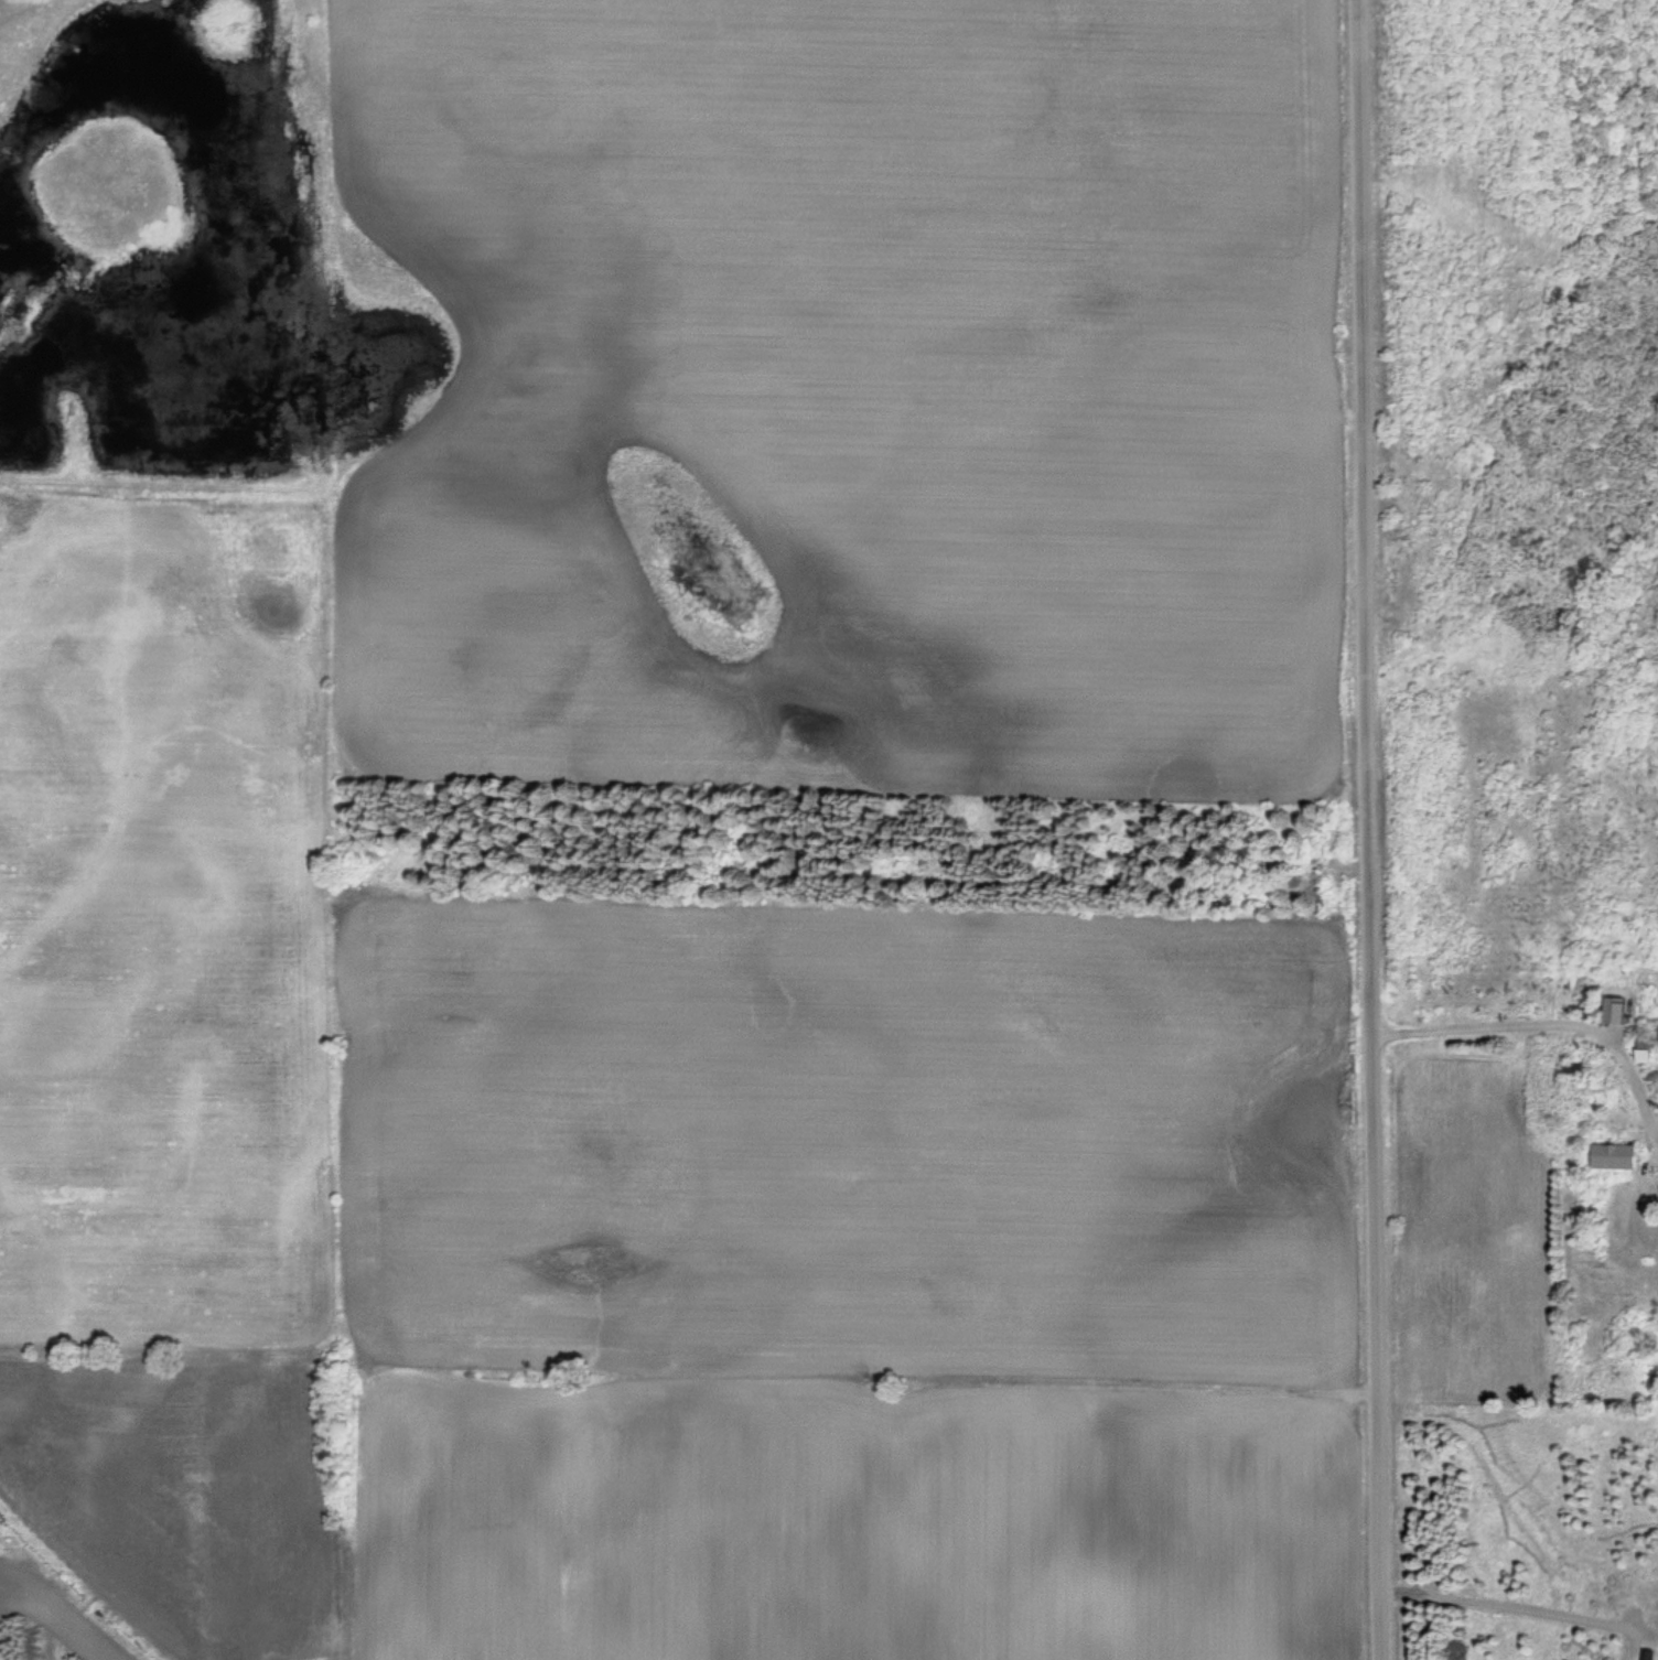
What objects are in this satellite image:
road: (1369, 830)
building: (1645, 1039)
building: (1612, 1158)

